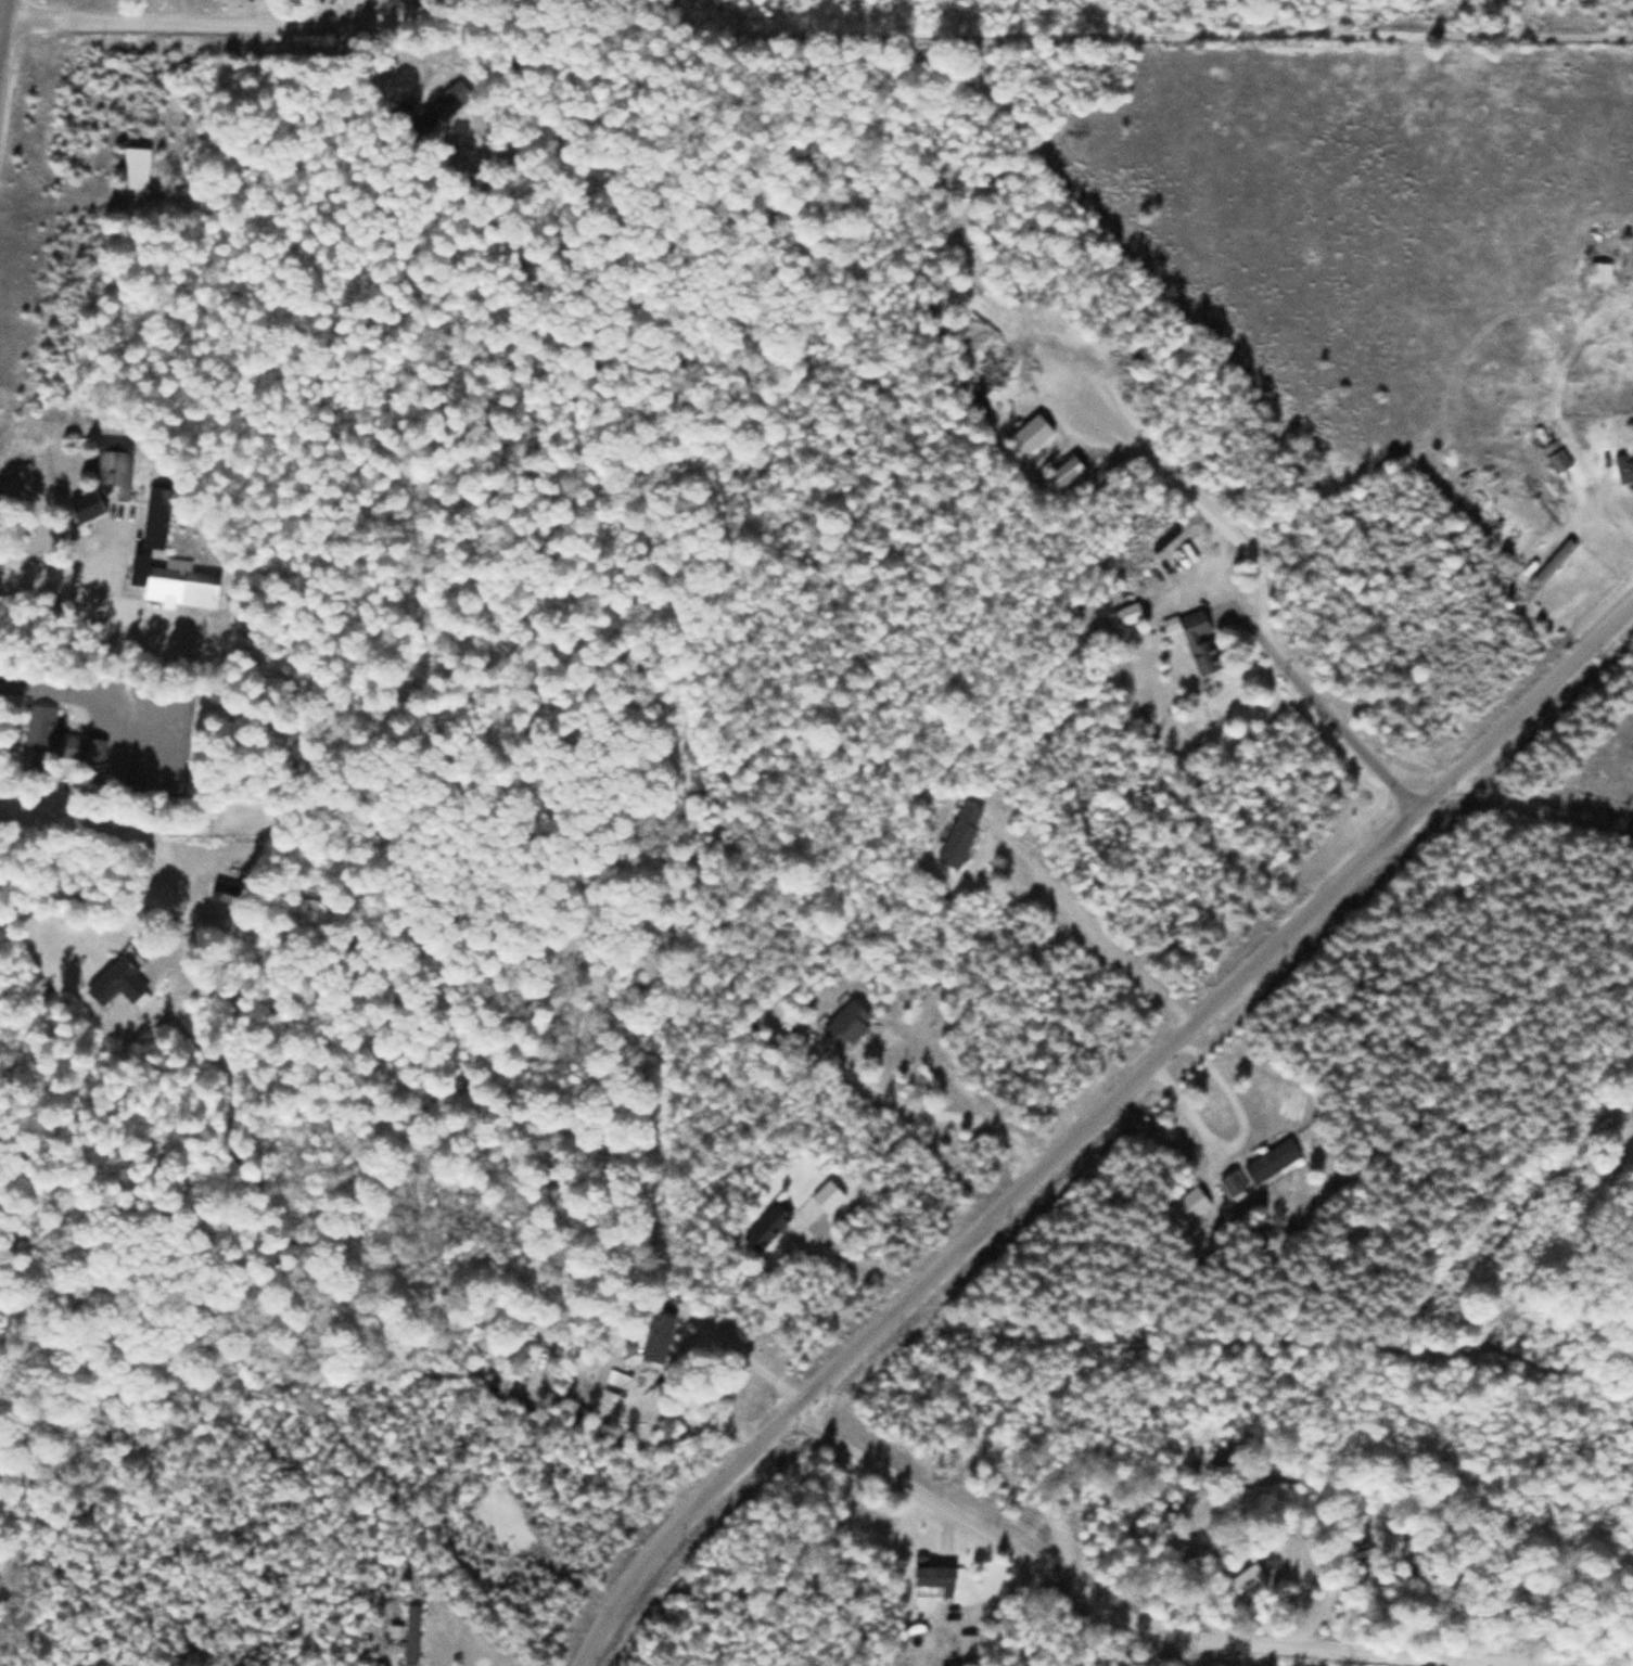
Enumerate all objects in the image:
road: (0, 1)
road: (286, 23)
road: (1102, 34)
building: (437, 111)
building: (136, 168)
building: (1599, 272)
building: (1030, 436)
building: (1559, 462)
building: (1623, 469)
building: (1067, 472)
building: (105, 479)
building: (156, 517)
building: (1555, 562)
building: (174, 585)
building: (1197, 641)
building: (55, 741)
building: (960, 835)
building: (221, 893)
building: (117, 985)
building: (846, 1024)
road: (1089, 1117)
building: (1272, 1161)
building: (1233, 1182)
building: (1186, 1208)
building: (766, 1227)
building: (658, 1338)
building: (934, 1577)
road: (1153, 1631)
building: (411, 1636)
building: (968, 1644)

